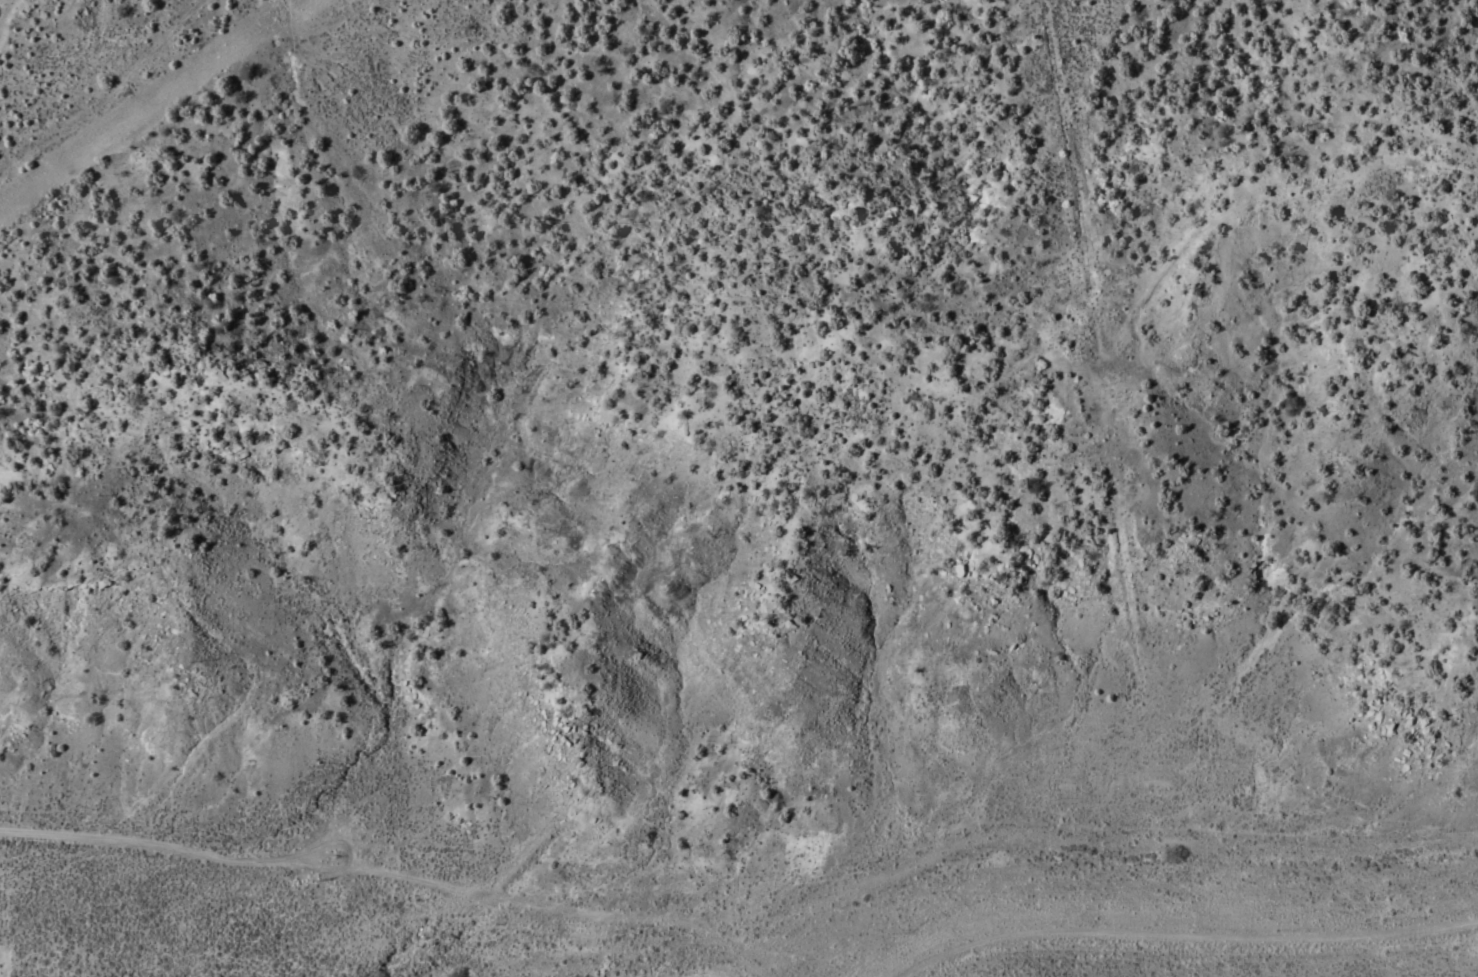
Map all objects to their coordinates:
railway: (147, 102)
road: (1188, 936)

